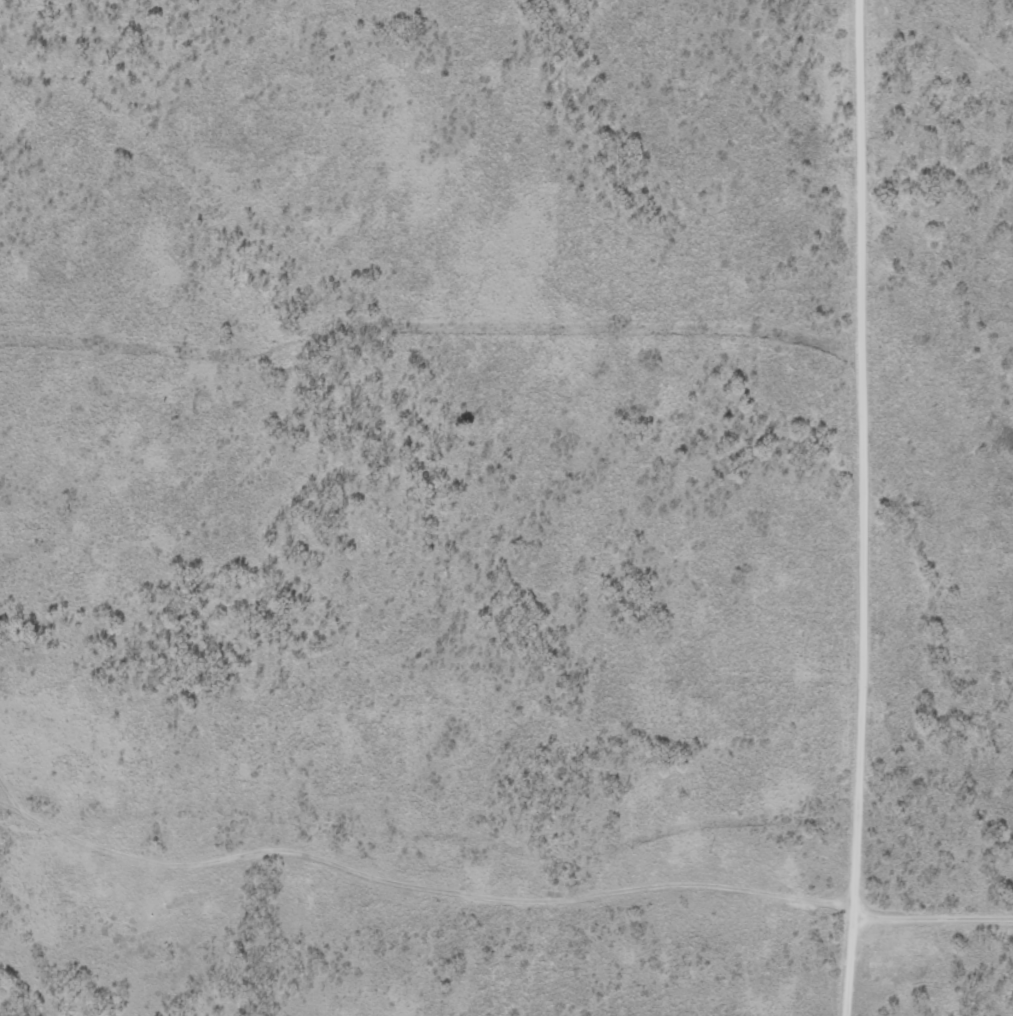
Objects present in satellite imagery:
road: (890, 508)

